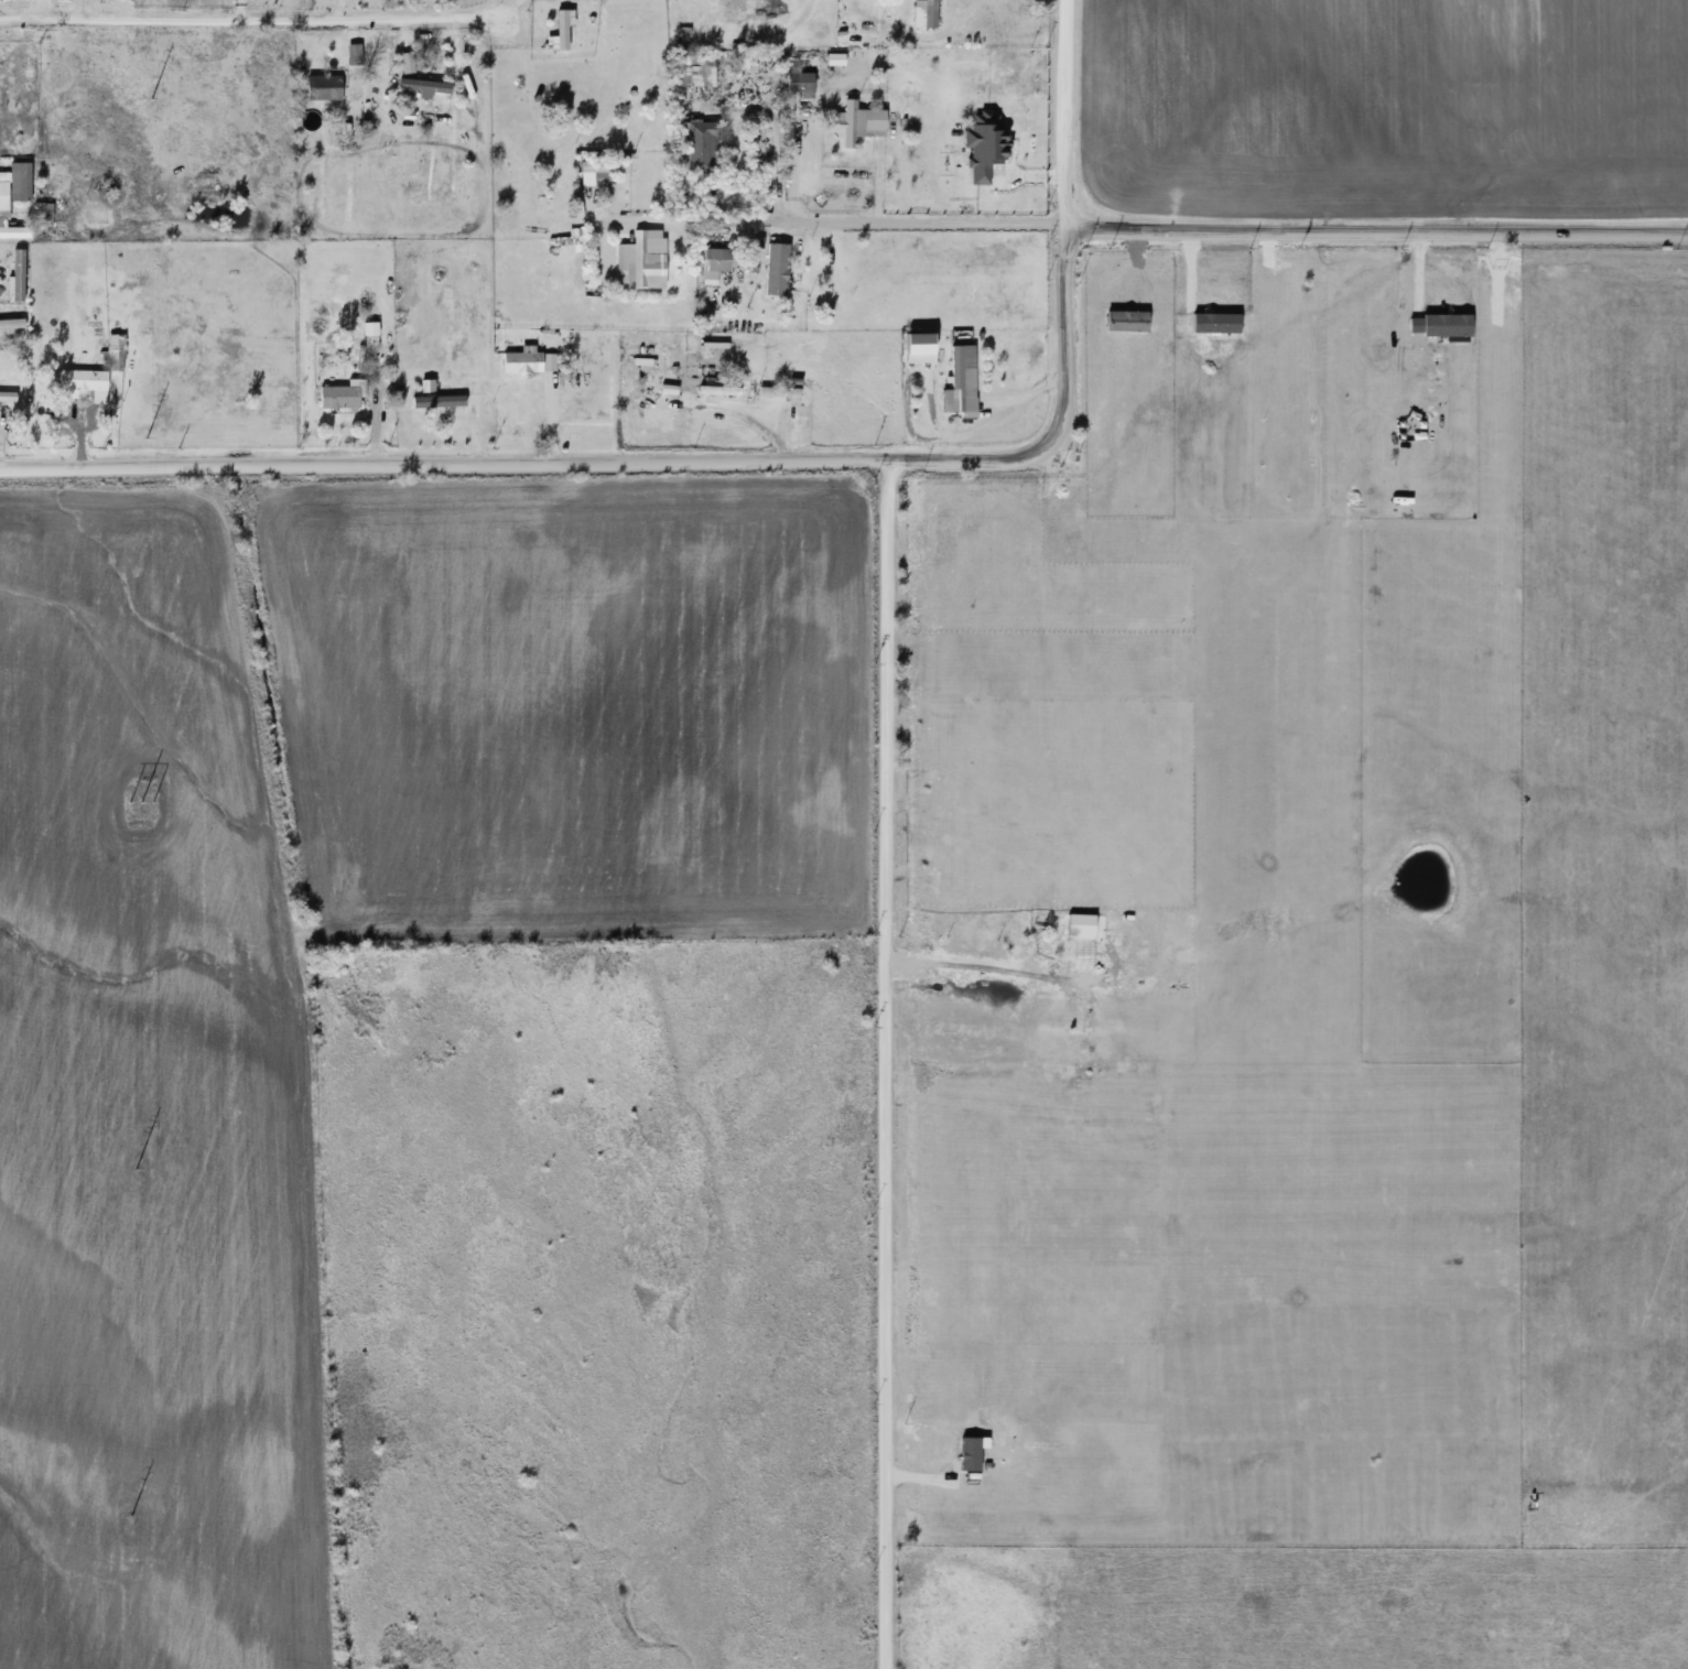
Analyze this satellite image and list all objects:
building: (935, 14)
road: (250, 19)
building: (565, 31)
building: (696, 74)
building: (428, 83)
building: (804, 85)
building: (328, 89)
power tower: (151, 100)
building: (852, 124)
building: (704, 148)
building: (606, 167)
building: (8, 193)
building: (45, 216)
road: (823, 224)
road: (1373, 227)
building: (646, 259)
building: (721, 264)
building: (781, 271)
road: (1057, 304)
building: (358, 334)
building: (531, 362)
building: (959, 372)
building: (86, 382)
building: (9, 397)
building: (326, 402)
building: (423, 402)
building: (446, 403)
power tower: (147, 438)
road: (443, 472)
power tower: (140, 803)
building: (1046, 918)
building: (1085, 925)
road: (982, 968)
road: (884, 1065)
power tower: (134, 1170)
power tower: (130, 1517)

